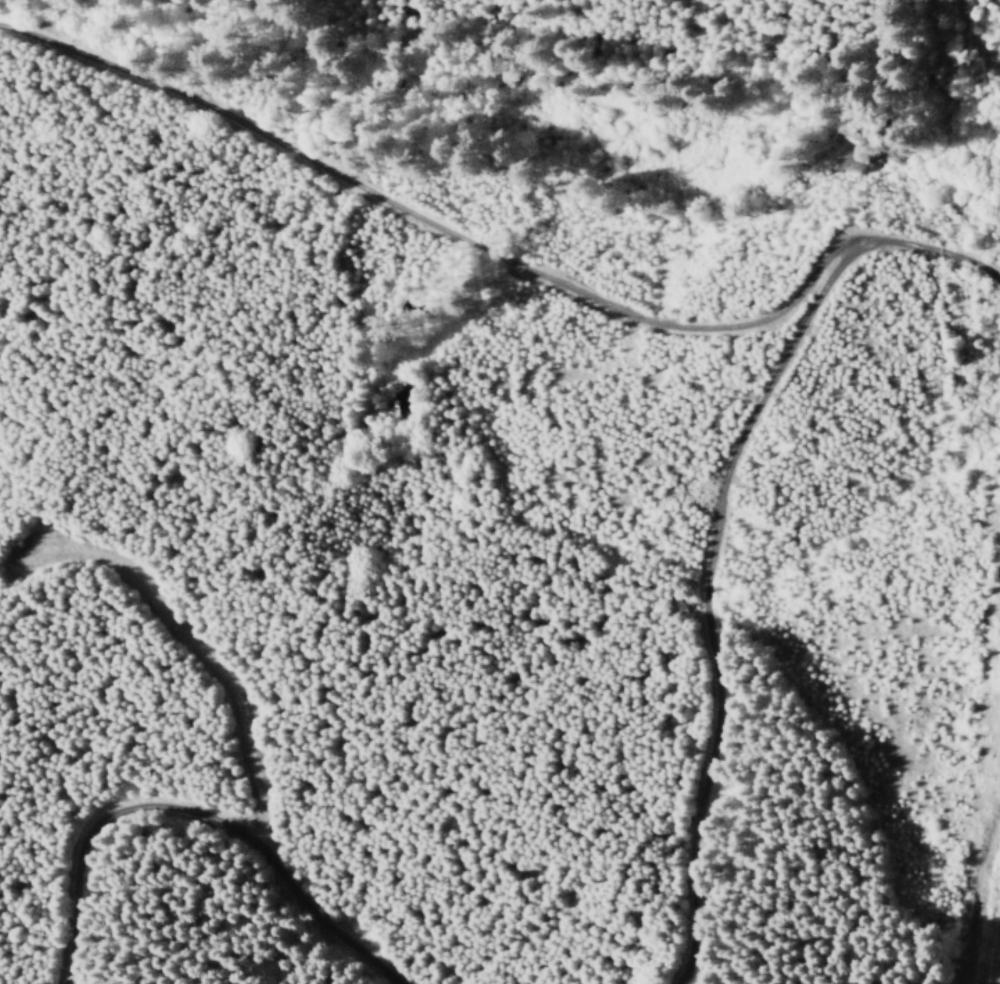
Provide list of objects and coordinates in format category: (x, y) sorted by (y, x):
road: (794, 281)

